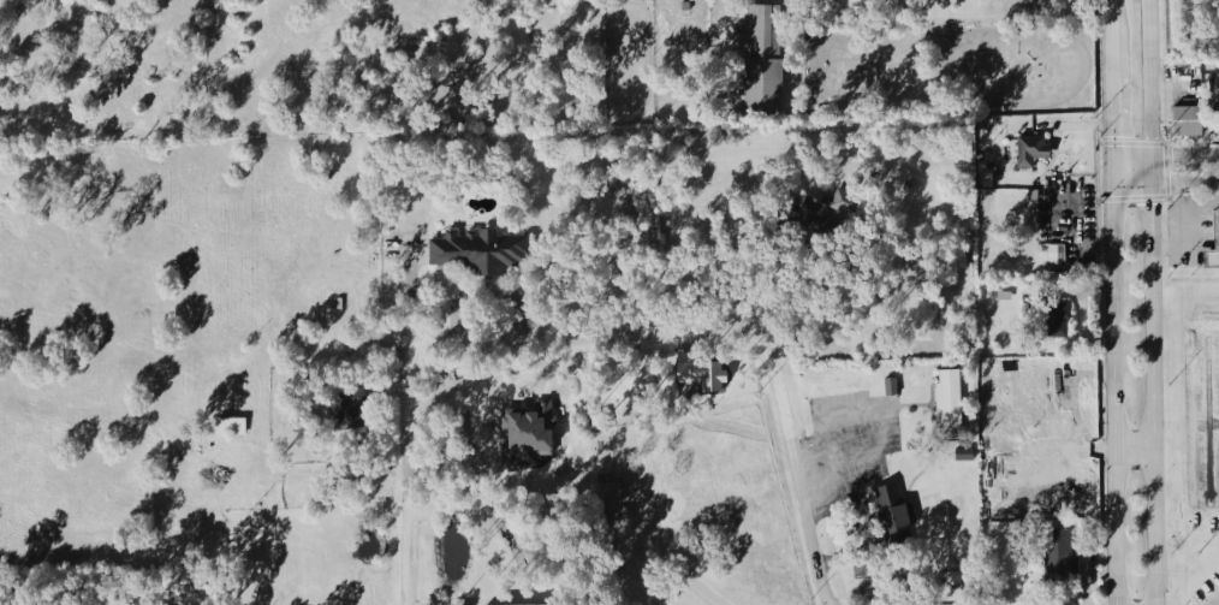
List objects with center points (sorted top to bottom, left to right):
crop: (1191, 29)
road: (1107, 40)
building: (767, 60)
crop: (345, 66)
crop: (947, 70)
building: (1215, 93)
building: (1191, 124)
road: (1110, 125)
building: (1035, 153)
road: (1162, 155)
road: (1164, 183)
building: (846, 209)
building: (1218, 223)
building: (480, 254)
building: (1057, 256)
building: (1213, 261)
road: (1150, 302)
road: (709, 333)
building: (704, 374)
road: (1114, 387)
building: (892, 388)
building: (951, 405)
road: (1135, 451)
road: (408, 474)
park: (618, 478)
building: (894, 512)
building: (1063, 562)
road: (676, 563)

